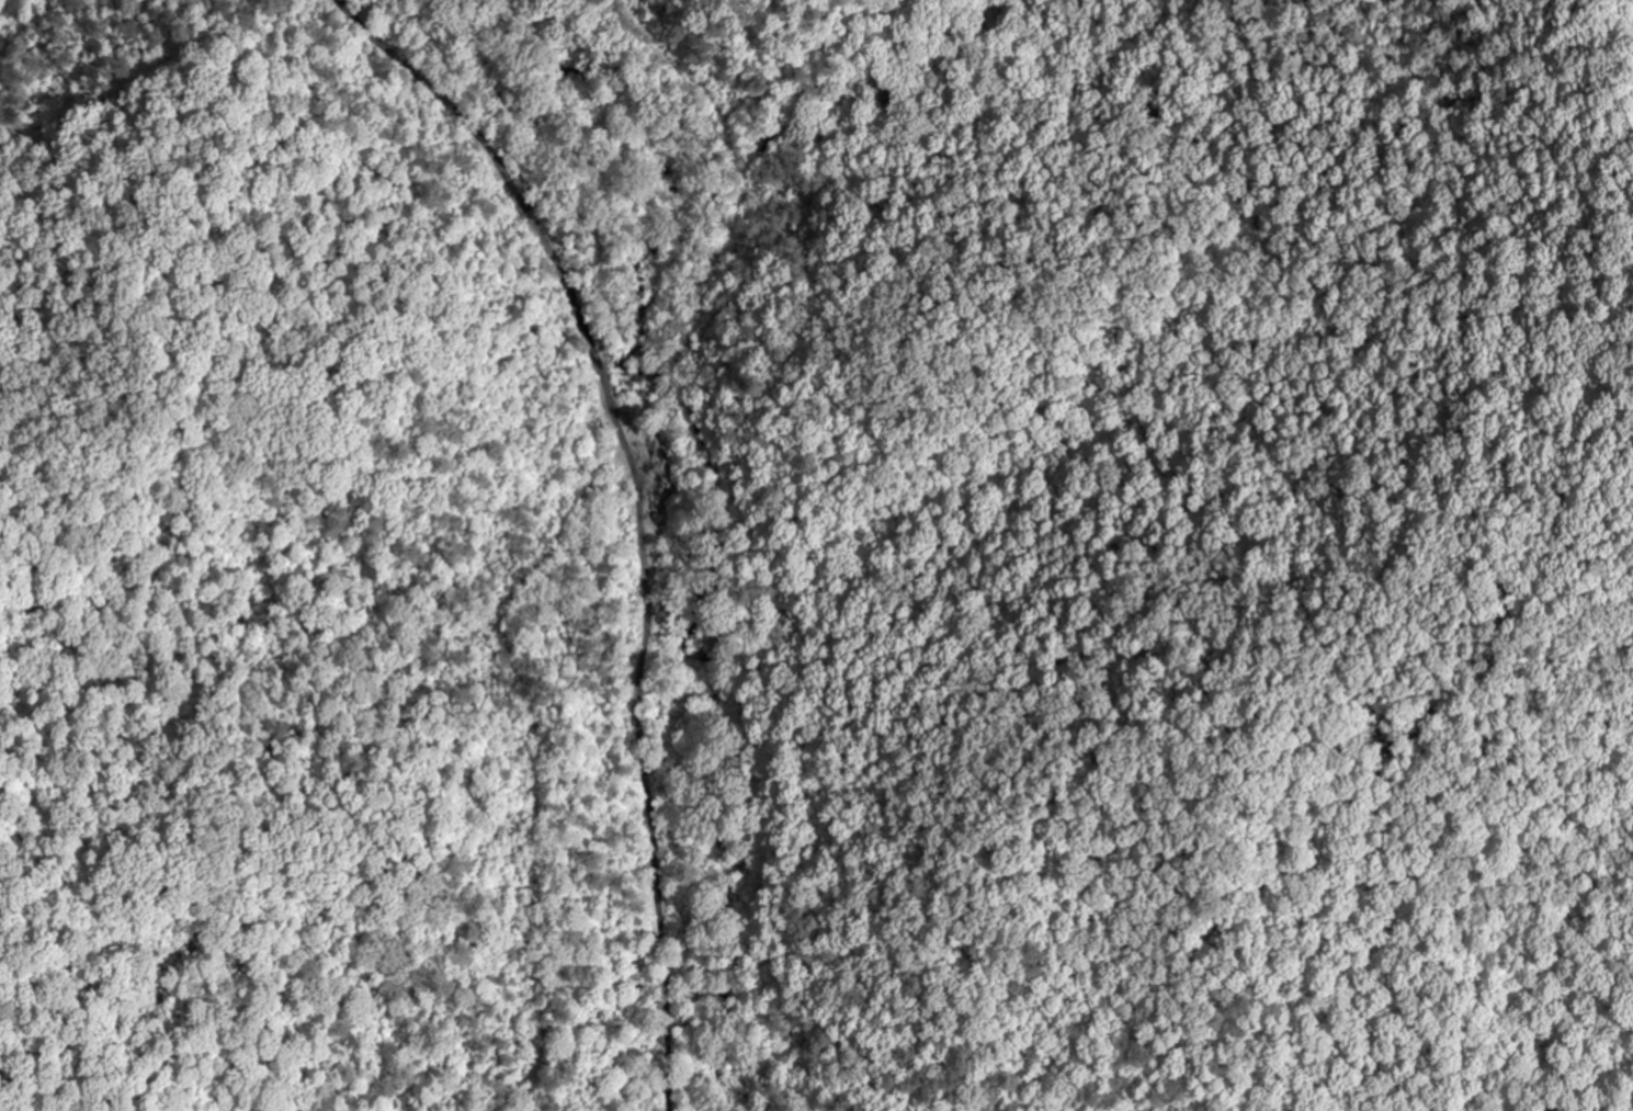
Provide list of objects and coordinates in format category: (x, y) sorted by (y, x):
road: (671, 166)
road: (524, 532)
road: (1451, 844)

